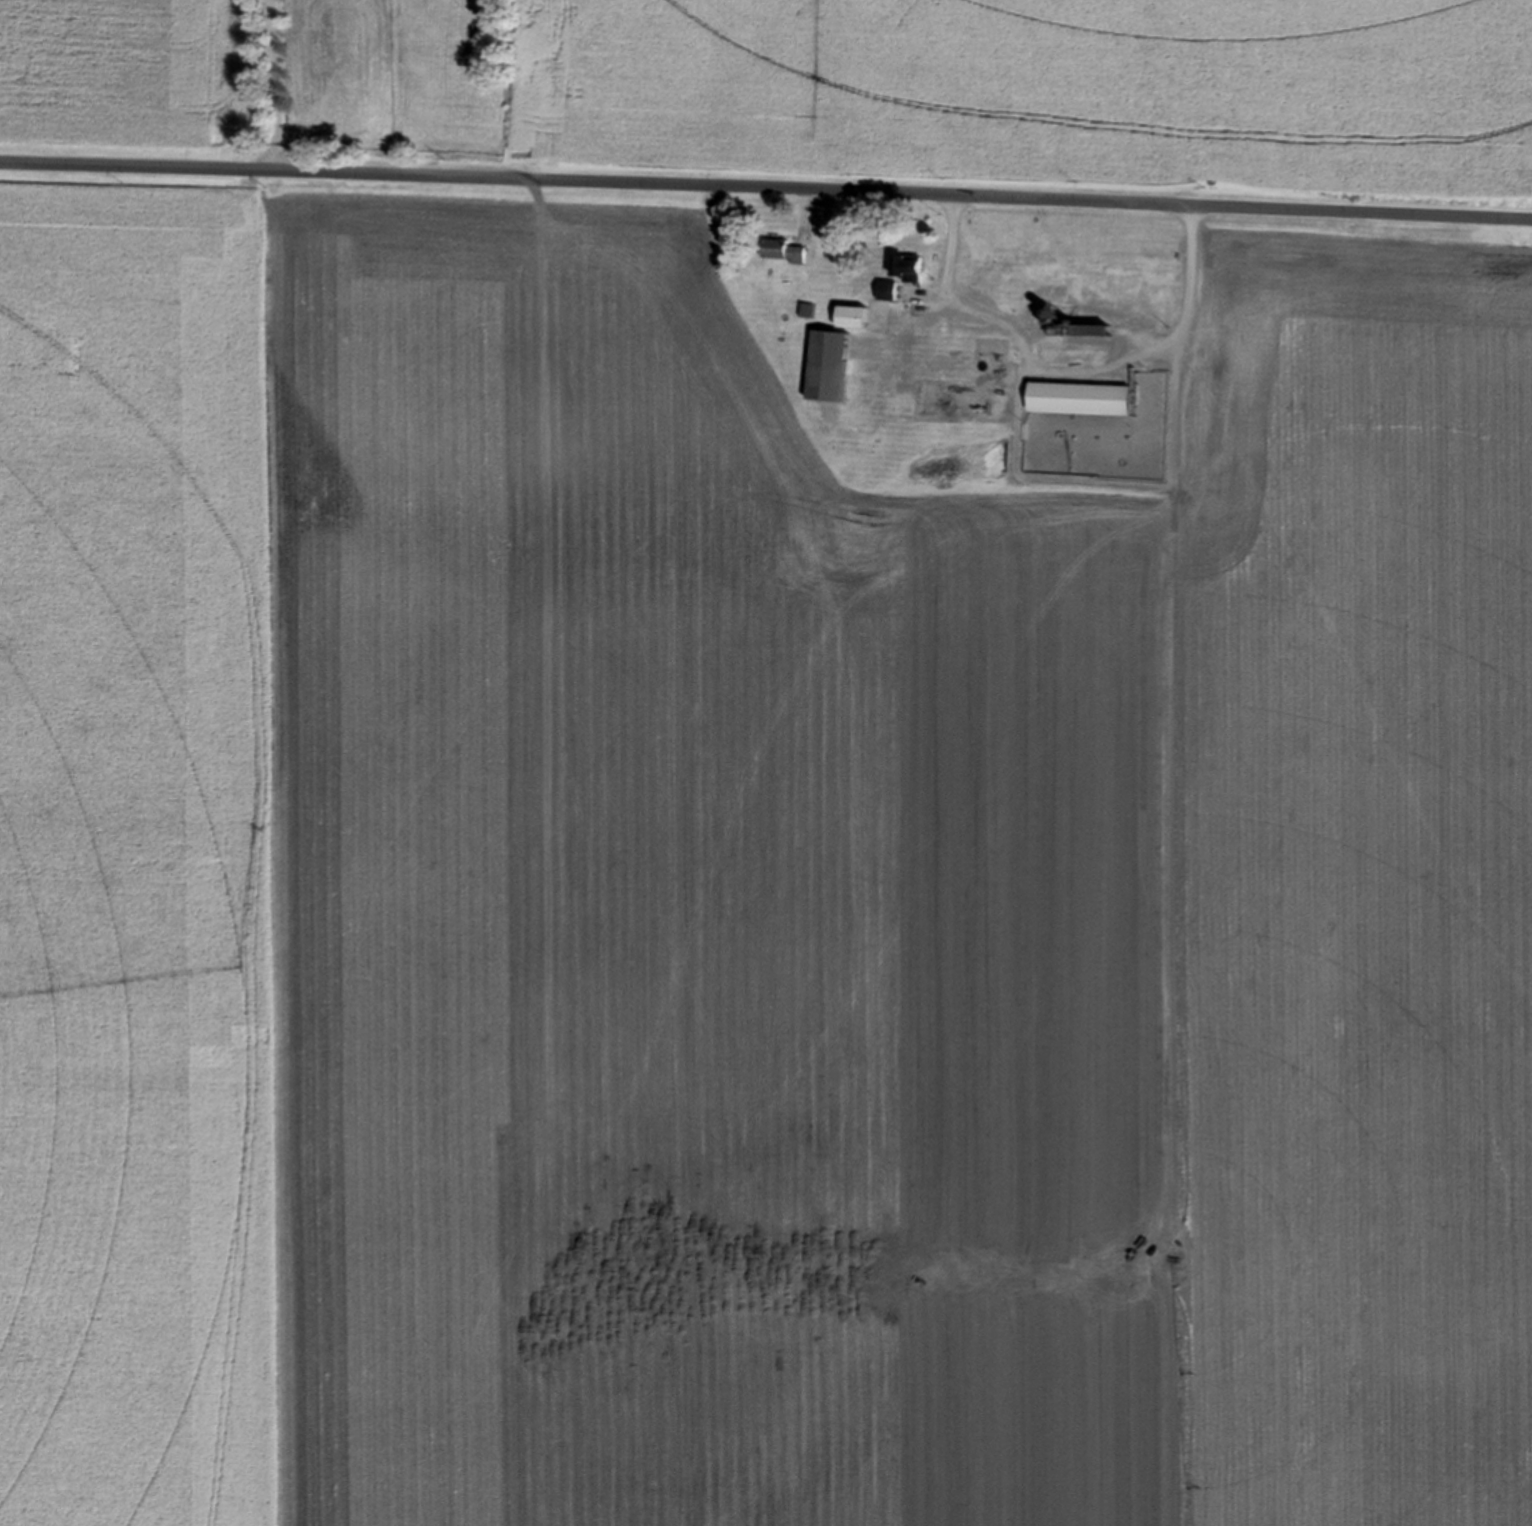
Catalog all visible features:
road: (766, 187)
building: (781, 249)
building: (905, 265)
building: (885, 289)
building: (850, 315)
building: (1075, 330)
building: (1213, 334)
building: (1047, 348)
building: (826, 364)
building: (1078, 397)

